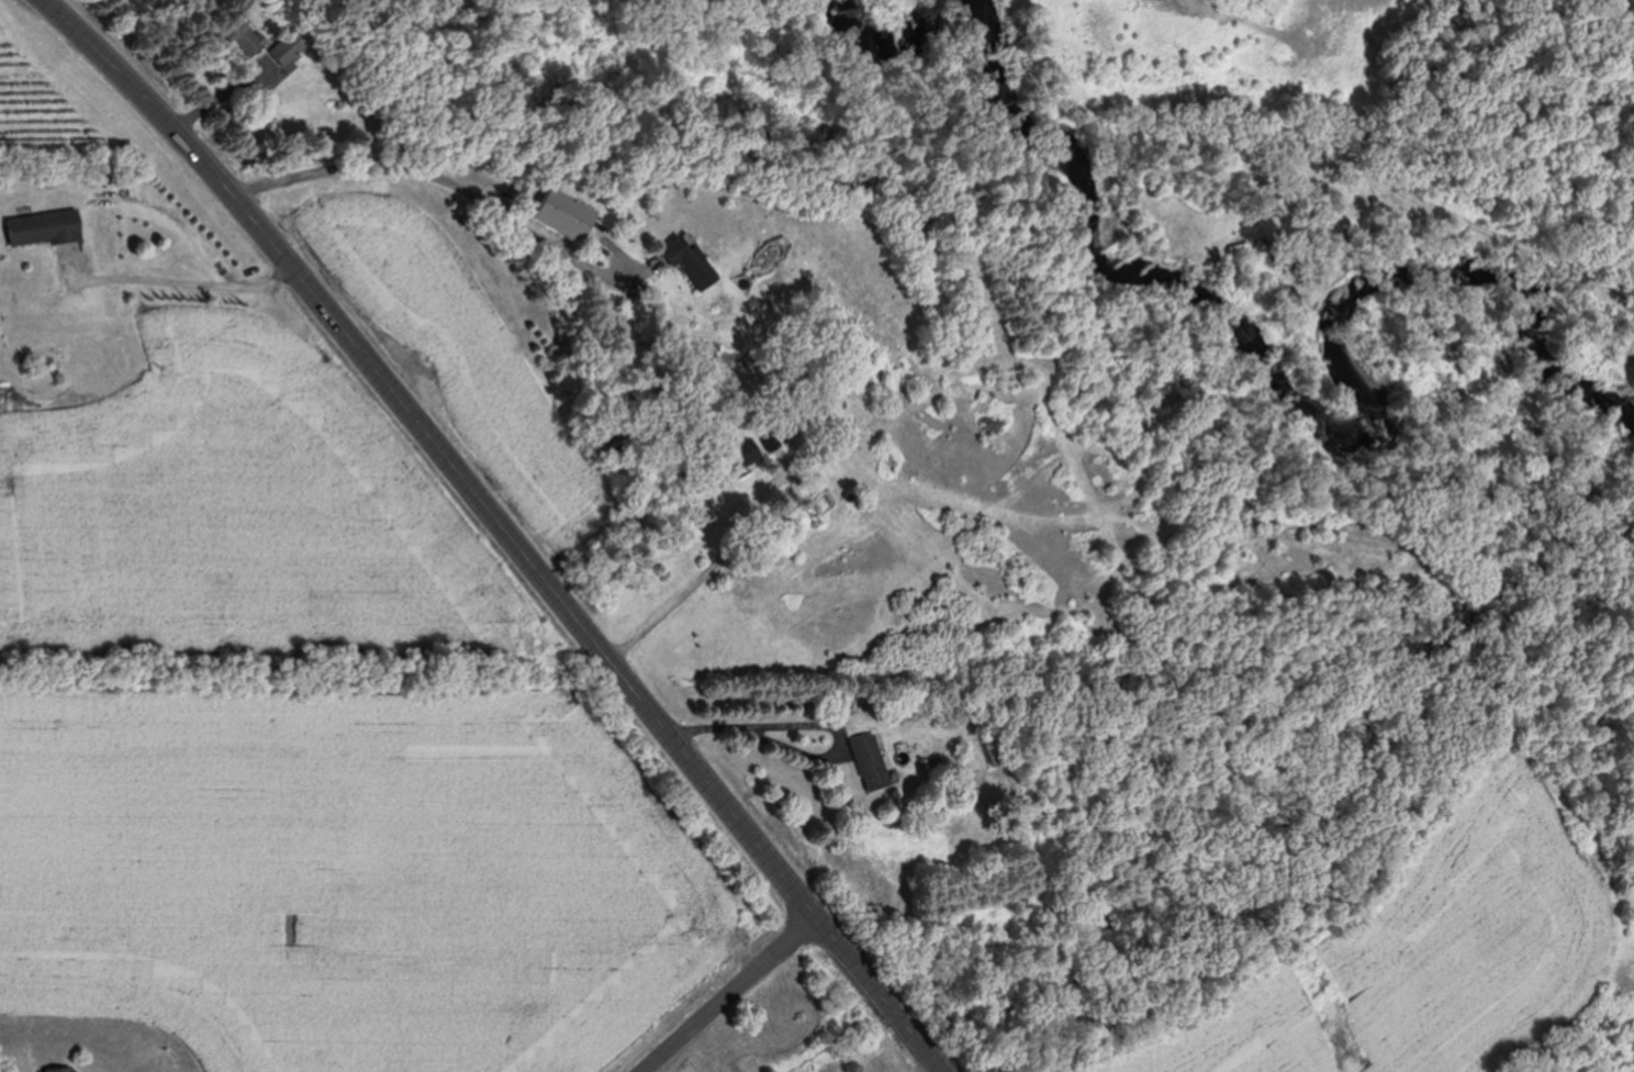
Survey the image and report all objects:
building: (235, 41)
building: (278, 55)
road: (439, 176)
building: (551, 215)
building: (38, 227)
road: (166, 281)
building: (730, 457)
road: (499, 524)
road: (682, 592)
road: (762, 724)
building: (988, 747)
building: (860, 761)
road: (728, 995)
building: (54, 1069)

